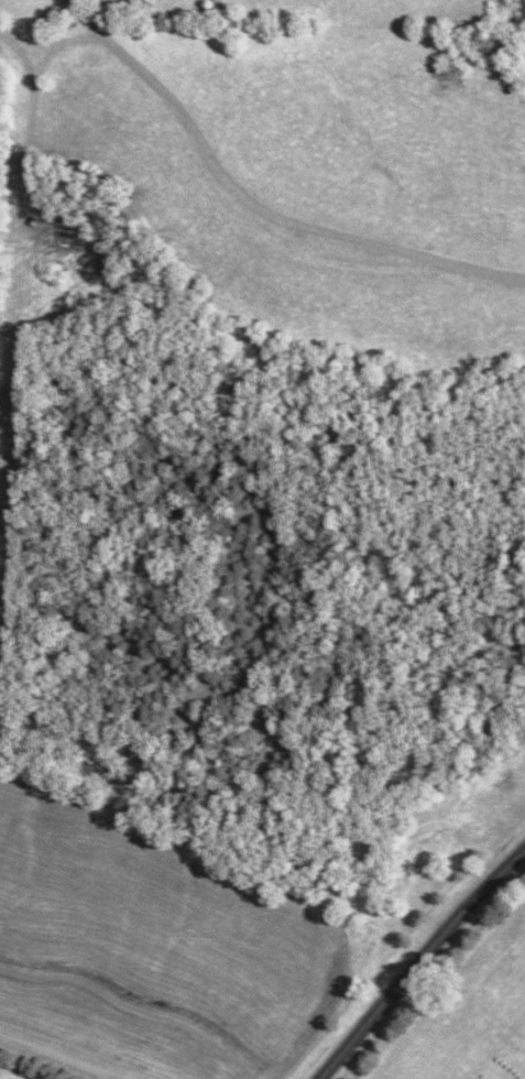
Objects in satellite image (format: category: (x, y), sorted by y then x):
road: (254, 207)
road: (416, 958)

